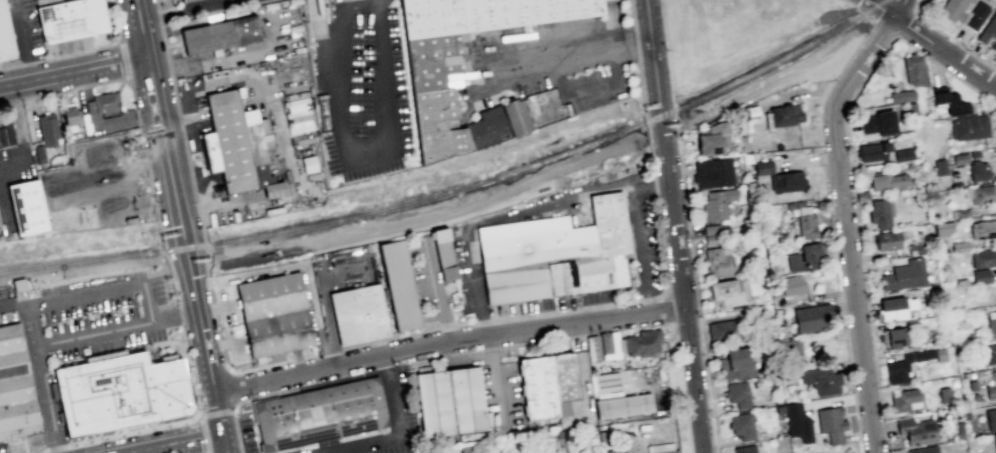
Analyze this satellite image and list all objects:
building: (184, 0)
road: (377, 0)
road: (848, 4)
road: (904, 6)
road: (917, 6)
road: (187, 10)
building: (953, 10)
building: (977, 15)
building: (70, 21)
road: (905, 25)
building: (988, 28)
building: (5, 34)
building: (219, 34)
road: (877, 35)
road: (892, 39)
road: (23, 40)
road: (954, 42)
road: (932, 44)
building: (994, 46)
road: (100, 48)
building: (460, 56)
road: (124, 59)
road: (570, 59)
road: (31, 63)
road: (614, 64)
road: (11, 67)
road: (639, 68)
building: (913, 70)
road: (946, 70)
road: (73, 73)
road: (770, 77)
road: (560, 80)
road: (126, 81)
road: (80, 86)
road: (592, 88)
parking lot: (360, 90)
road: (36, 95)
building: (906, 101)
building: (103, 103)
building: (950, 103)
building: (546, 106)
building: (783, 115)
building: (71, 116)
building: (300, 116)
building: (514, 117)
road: (137, 122)
building: (880, 124)
road: (95, 127)
building: (486, 127)
building: (970, 128)
building: (48, 129)
road: (181, 130)
road: (661, 131)
building: (6, 135)
road: (20, 138)
building: (713, 139)
building: (234, 143)
road: (350, 149)
building: (873, 152)
building: (903, 153)
building: (40, 154)
road: (166, 155)
building: (975, 155)
road: (650, 156)
building: (960, 159)
building: (308, 163)
building: (761, 167)
building: (940, 169)
building: (979, 171)
building: (712, 173)
building: (786, 182)
building: (893, 182)
building: (96, 183)
road: (650, 185)
road: (654, 185)
railway: (458, 189)
building: (984, 194)
road: (152, 195)
building: (863, 196)
road: (559, 201)
building: (710, 204)
building: (25, 207)
road: (2, 208)
building: (880, 214)
road: (439, 215)
road: (844, 215)
road: (672, 226)
building: (805, 227)
building: (942, 228)
building: (709, 229)
building: (982, 230)
building: (709, 240)
building: (887, 241)
road: (661, 247)
building: (959, 247)
building: (916, 250)
building: (555, 253)
building: (983, 258)
building: (801, 259)
road: (213, 260)
building: (444, 261)
road: (187, 263)
building: (716, 263)
road: (300, 264)
road: (84, 269)
road: (205, 269)
building: (906, 275)
building: (981, 277)
road: (206, 282)
road: (173, 284)
building: (399, 288)
road: (438, 289)
building: (793, 289)
road: (696, 290)
building: (725, 293)
road: (209, 295)
building: (270, 296)
road: (648, 298)
road: (4, 303)
road: (147, 303)
parking lot: (6, 306)
road: (214, 307)
road: (212, 308)
building: (894, 309)
road: (563, 310)
building: (358, 313)
road: (178, 314)
road: (174, 315)
parking lot: (94, 316)
building: (810, 318)
road: (480, 320)
road: (464, 323)
building: (991, 323)
road: (446, 325)
road: (216, 327)
building: (721, 330)
building: (278, 333)
building: (895, 338)
road: (382, 339)
road: (447, 340)
road: (222, 343)
building: (642, 343)
road: (220, 344)
building: (610, 345)
building: (593, 348)
building: (794, 348)
road: (321, 353)
building: (987, 355)
road: (222, 359)
road: (271, 363)
building: (732, 366)
road: (37, 372)
building: (897, 373)
building: (969, 376)
building: (564, 379)
road: (212, 381)
building: (818, 381)
building: (954, 384)
building: (15, 386)
building: (973, 386)
road: (231, 388)
building: (991, 389)
building: (537, 390)
building: (119, 395)
building: (736, 395)
building: (945, 396)
building: (906, 401)
building: (449, 404)
building: (624, 406)
road: (215, 412)
building: (318, 414)
building: (792, 419)
building: (991, 419)
road: (162, 425)
building: (829, 425)
building: (740, 427)
building: (917, 430)
road: (235, 431)
road: (687, 431)
road: (202, 433)
road: (401, 433)
building: (995, 440)
road: (170, 441)
building: (660, 448)
building: (743, 449)
building: (617, 450)
building: (925, 450)

